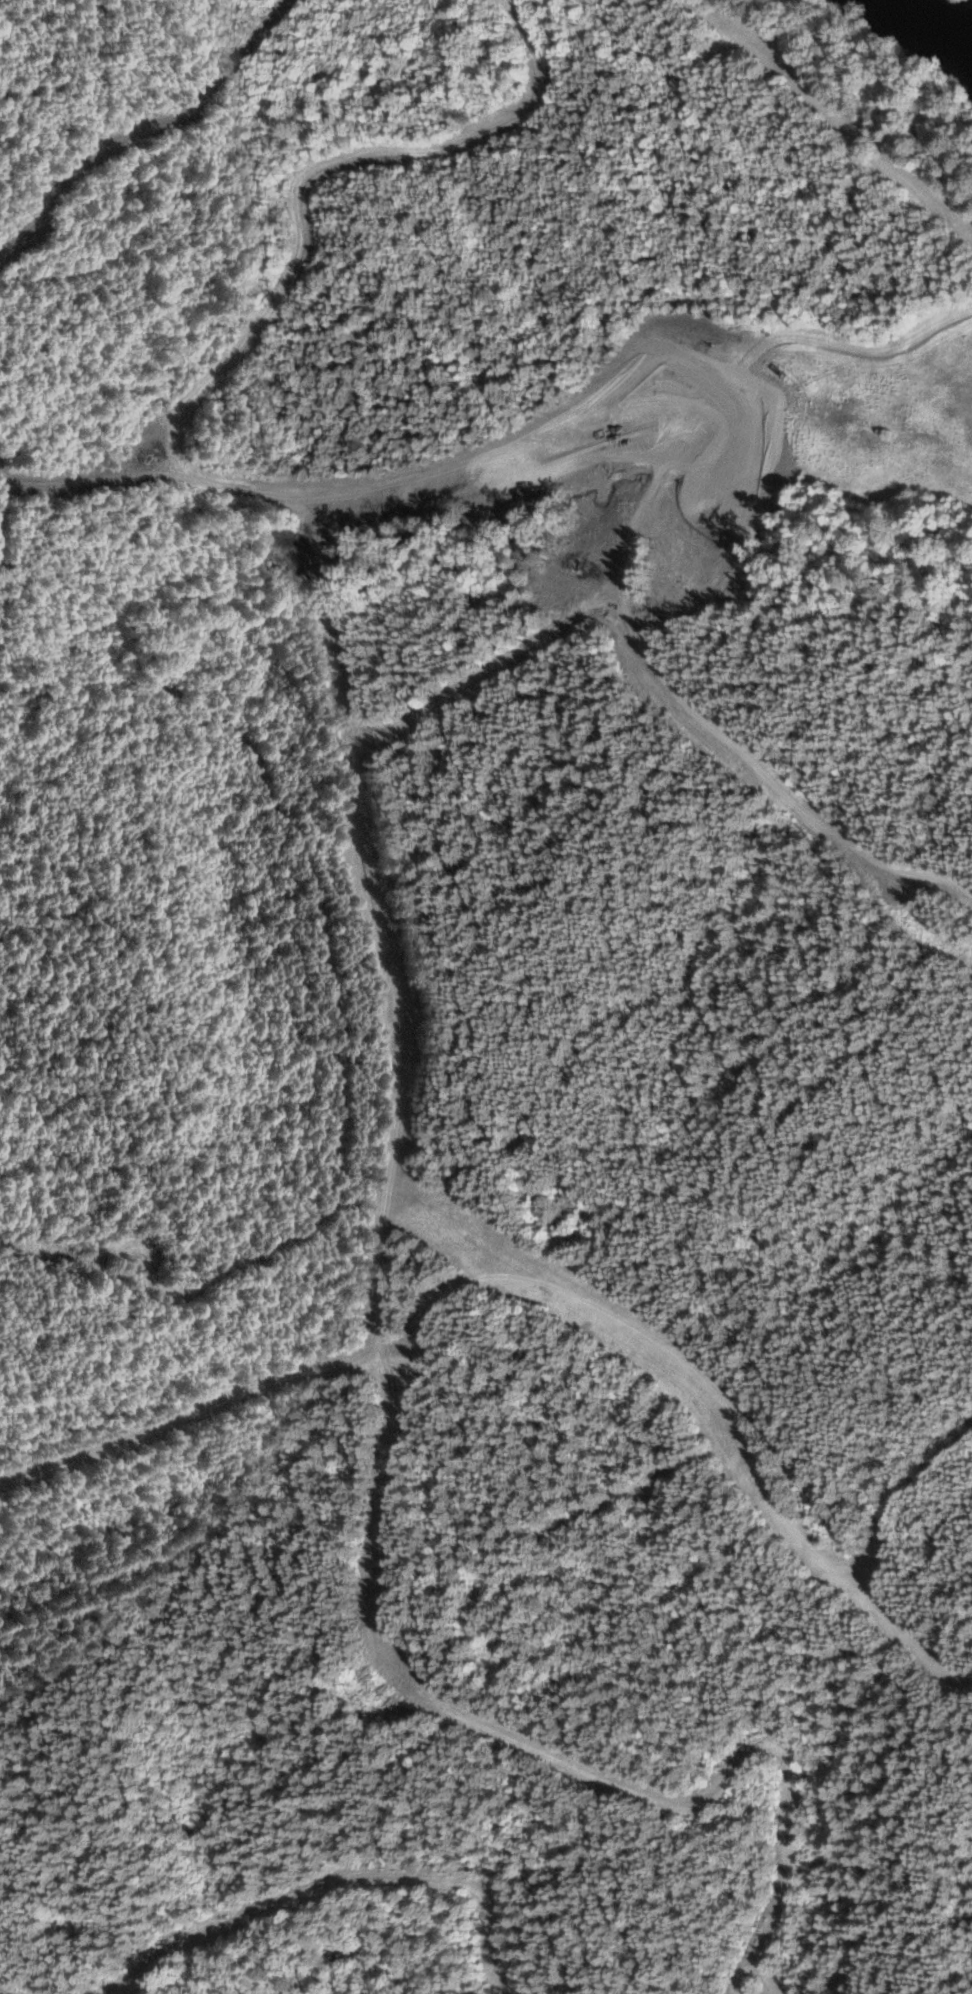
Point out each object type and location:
river: (940, 27)

